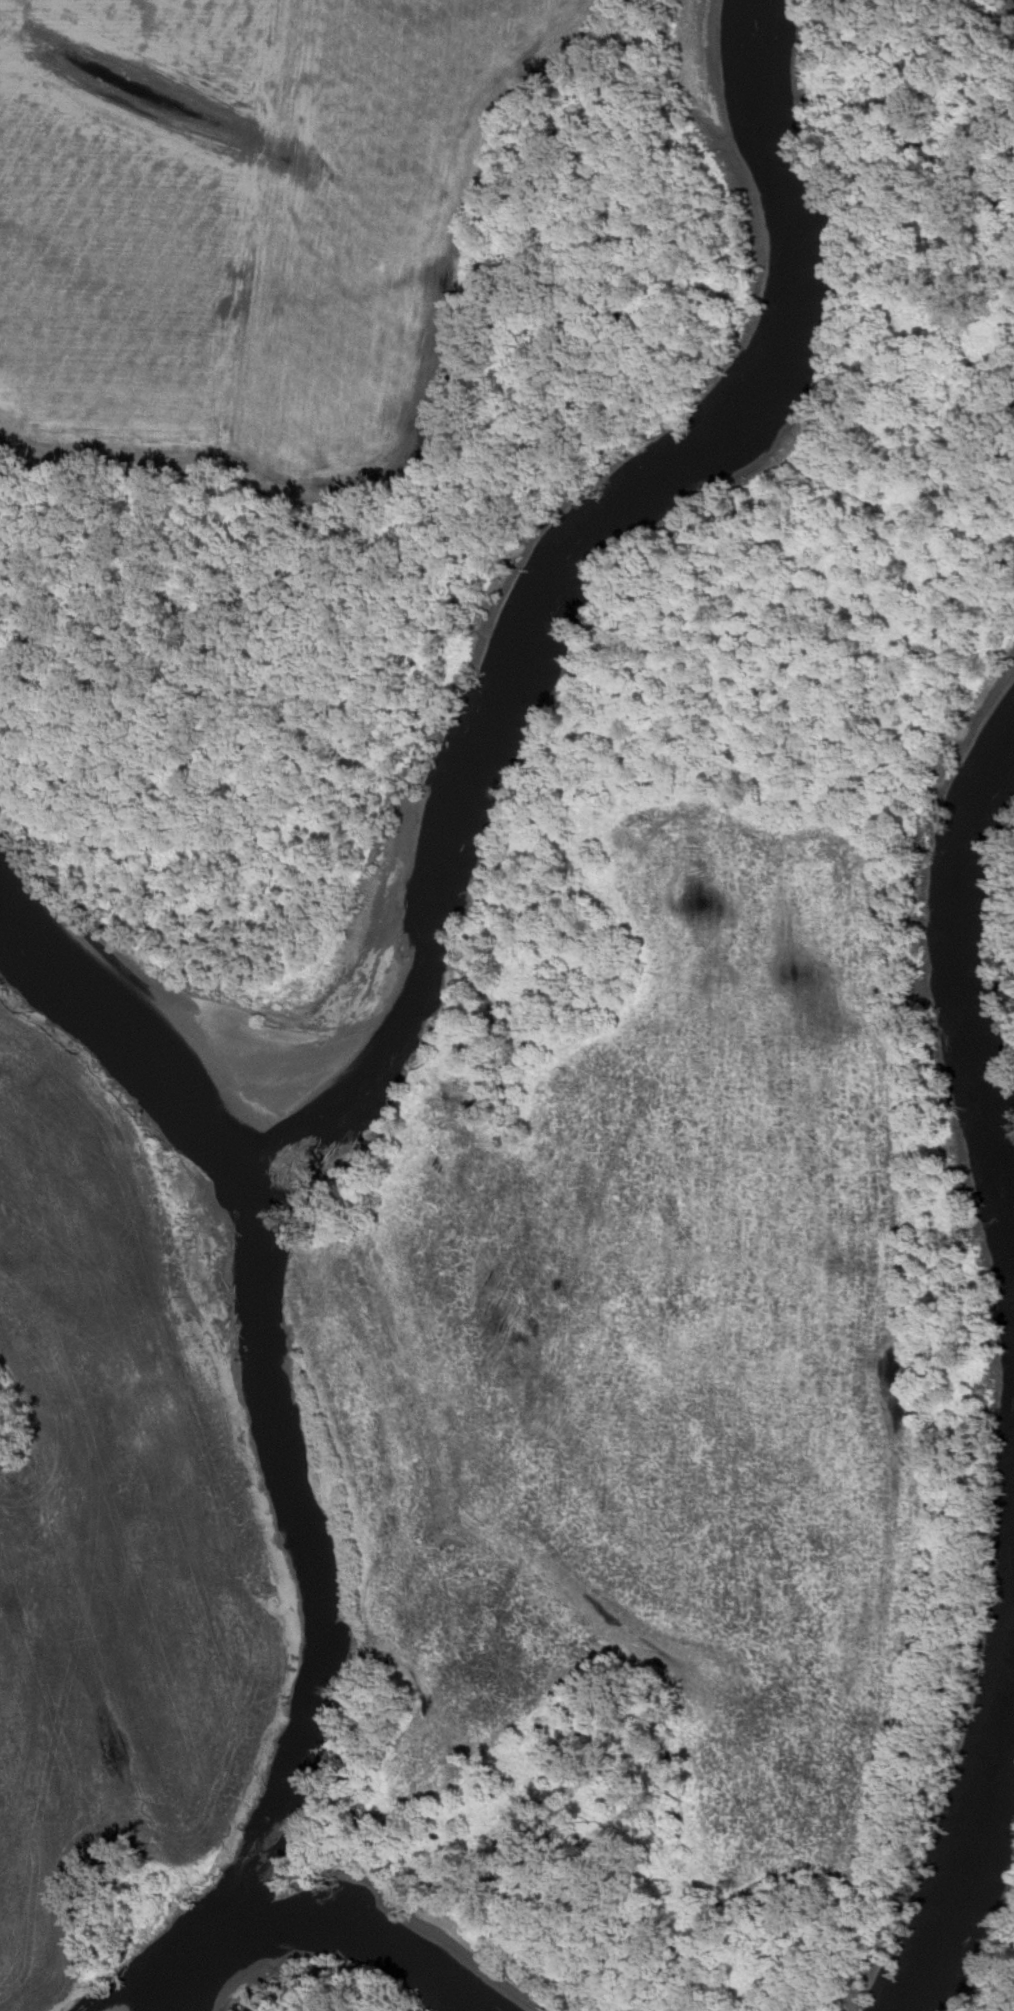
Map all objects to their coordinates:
river: (499, 660)
river: (975, 967)
river: (977, 1818)
river: (345, 1913)

